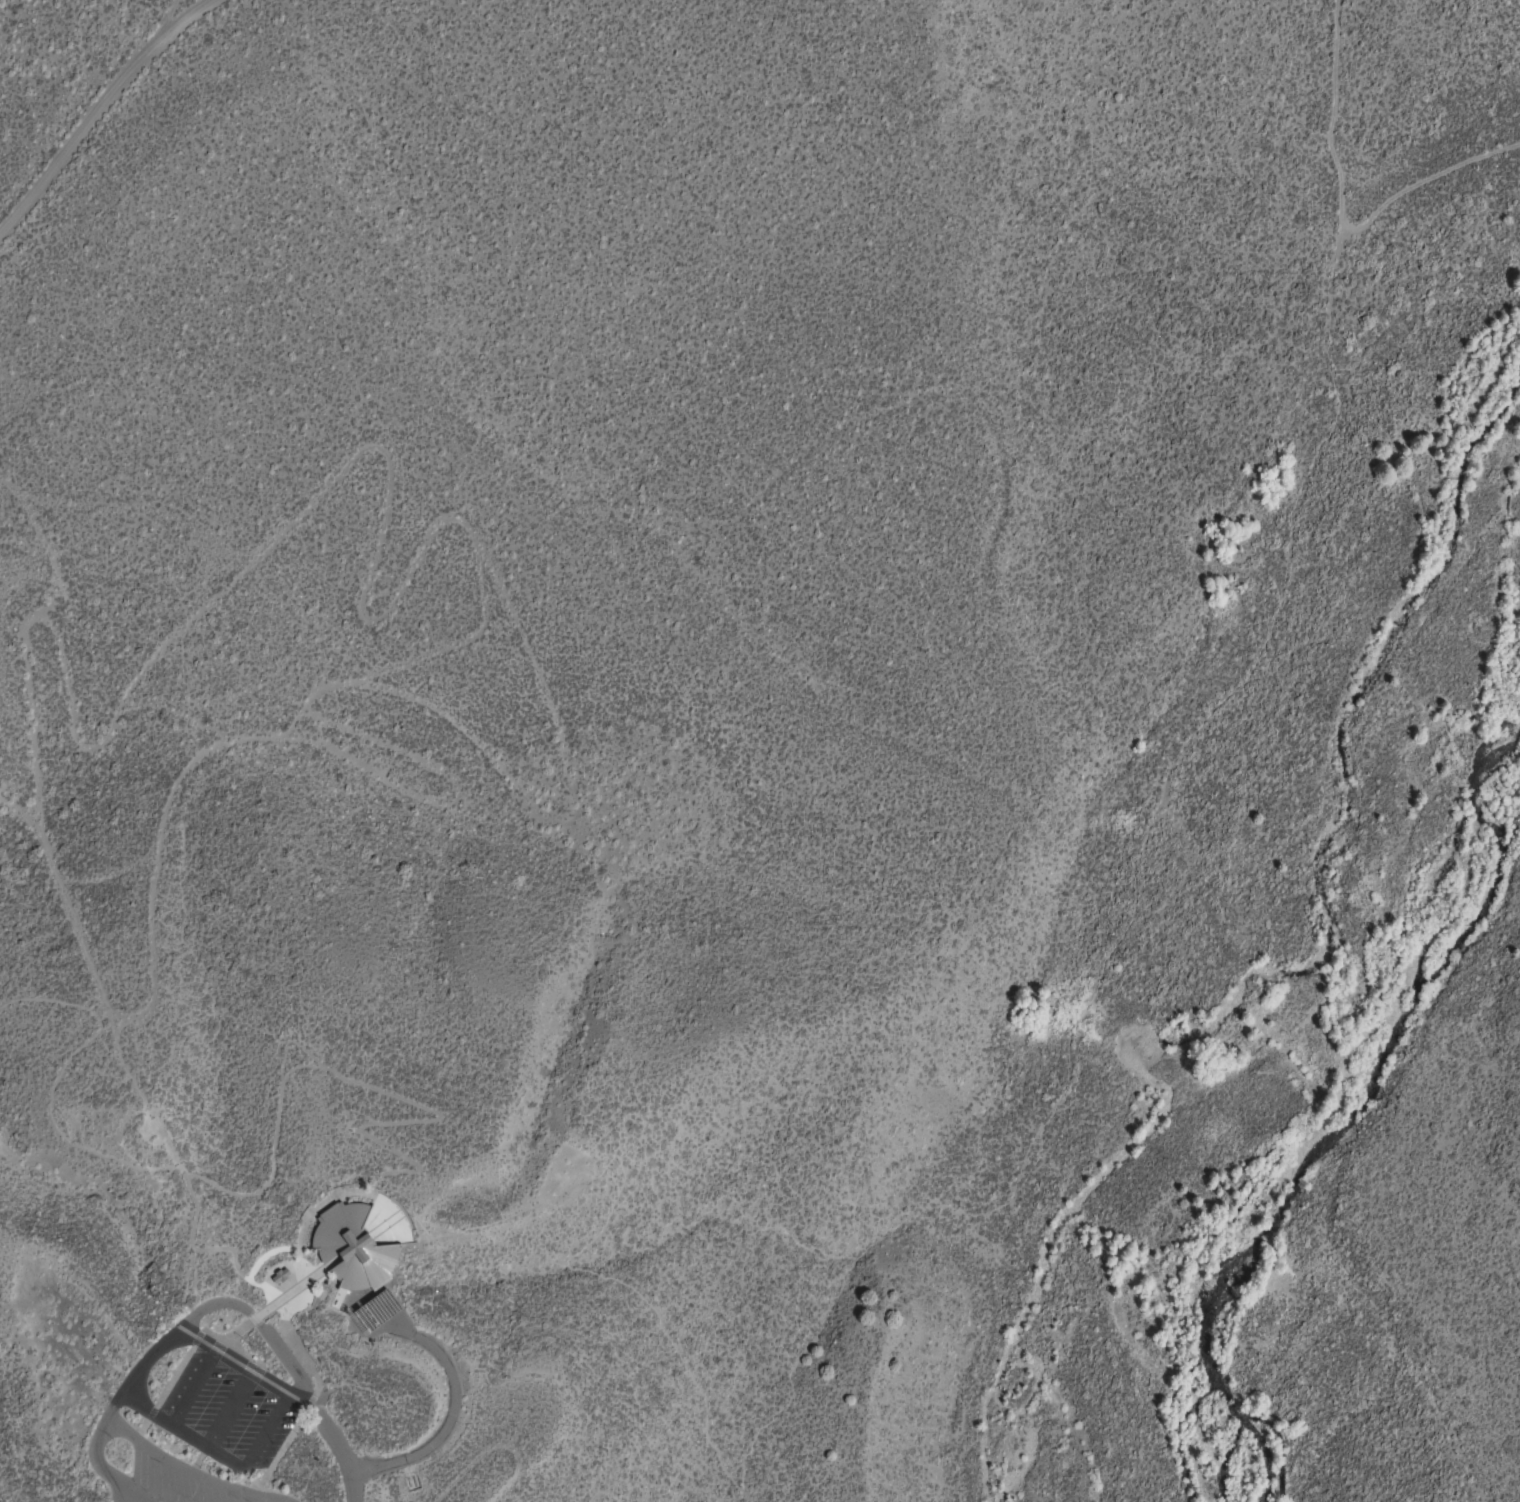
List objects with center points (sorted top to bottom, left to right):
road: (100, 108)
road: (1335, 130)
road: (1410, 180)
road: (1118, 932)
road: (91, 958)
road: (164, 963)
road: (53, 1004)
road: (291, 1041)
road: (371, 1090)
road: (149, 1166)
road: (302, 1227)
road: (598, 1236)
building: (353, 1250)
building: (279, 1275)
road: (264, 1310)
road: (168, 1340)
road: (285, 1361)
road: (452, 1395)
road: (290, 1396)
parking lot: (205, 1440)
road: (219, 1454)
road: (101, 1471)
road: (188, 1472)
road: (123, 1496)

